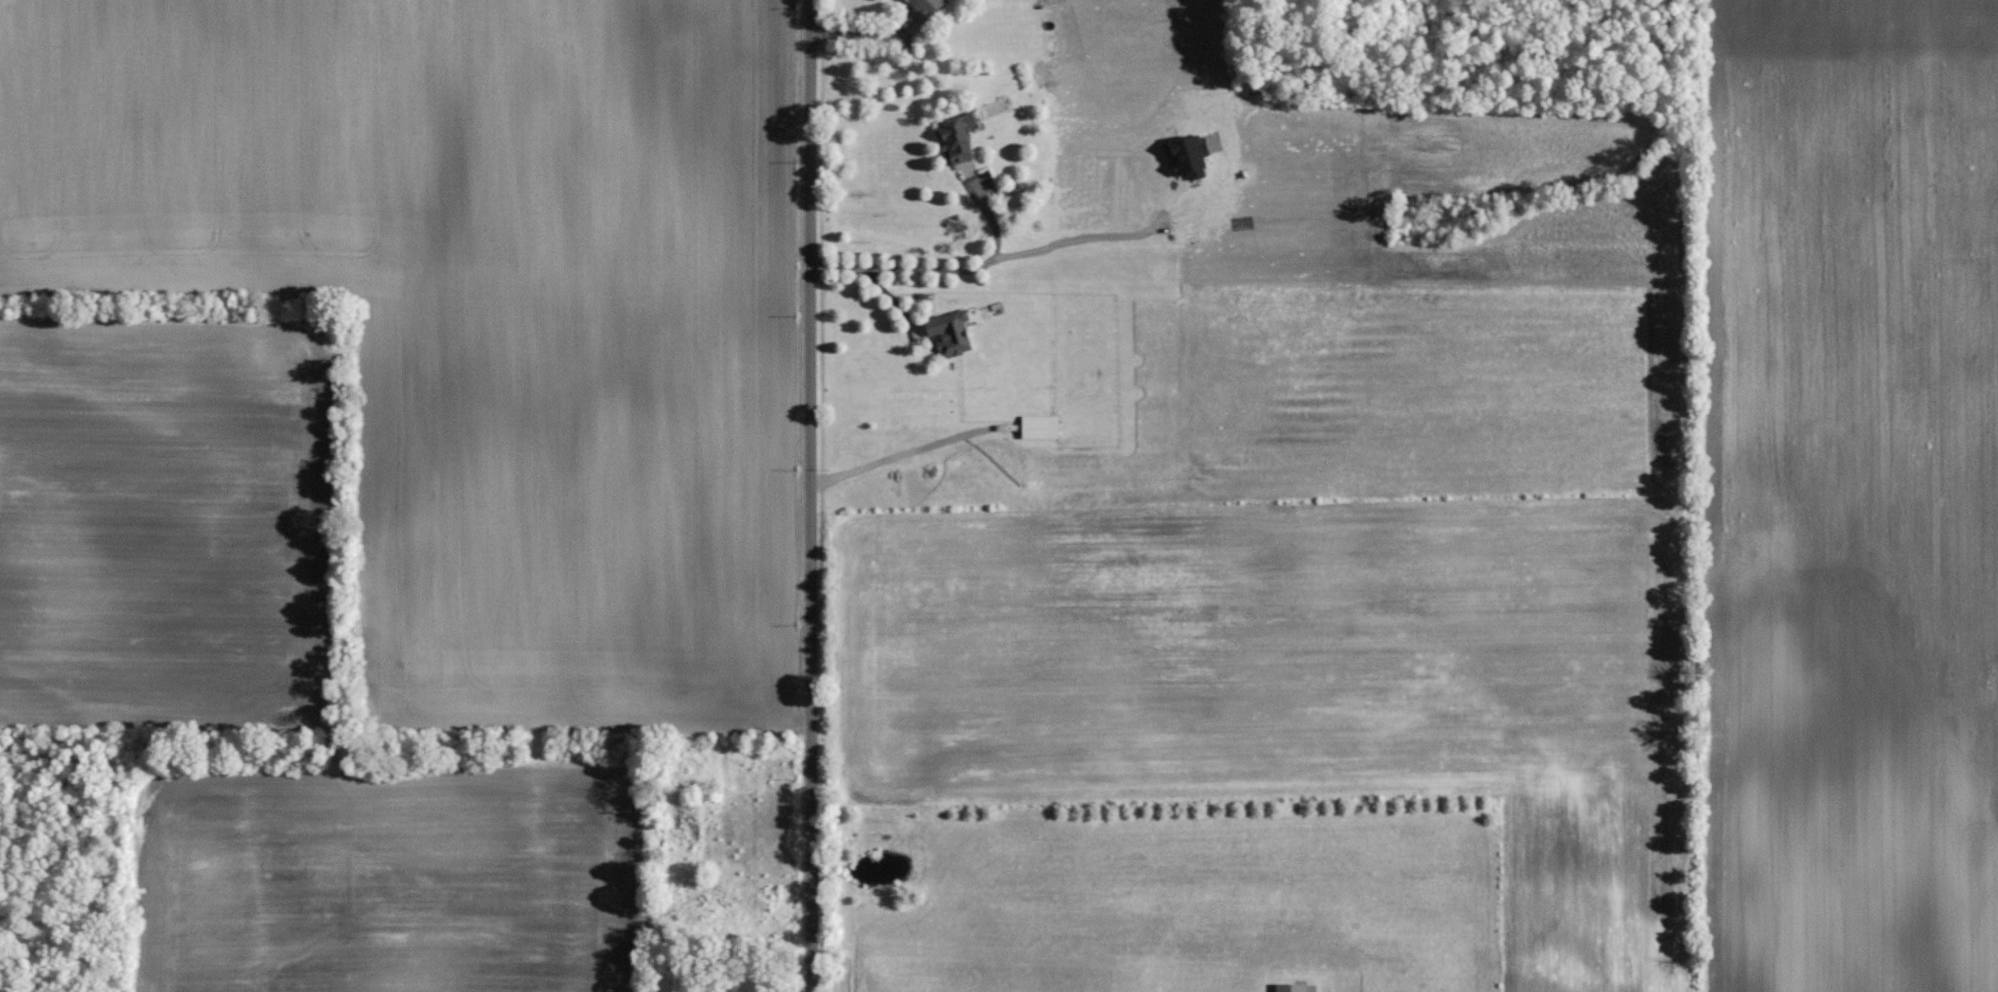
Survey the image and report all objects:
building: (924, 9)
road: (865, 35)
building: (958, 137)
building: (1187, 157)
road: (1092, 238)
road: (938, 271)
building: (918, 331)
building: (950, 332)
building: (1040, 426)
road: (897, 455)
road: (810, 495)
building: (1295, 987)

